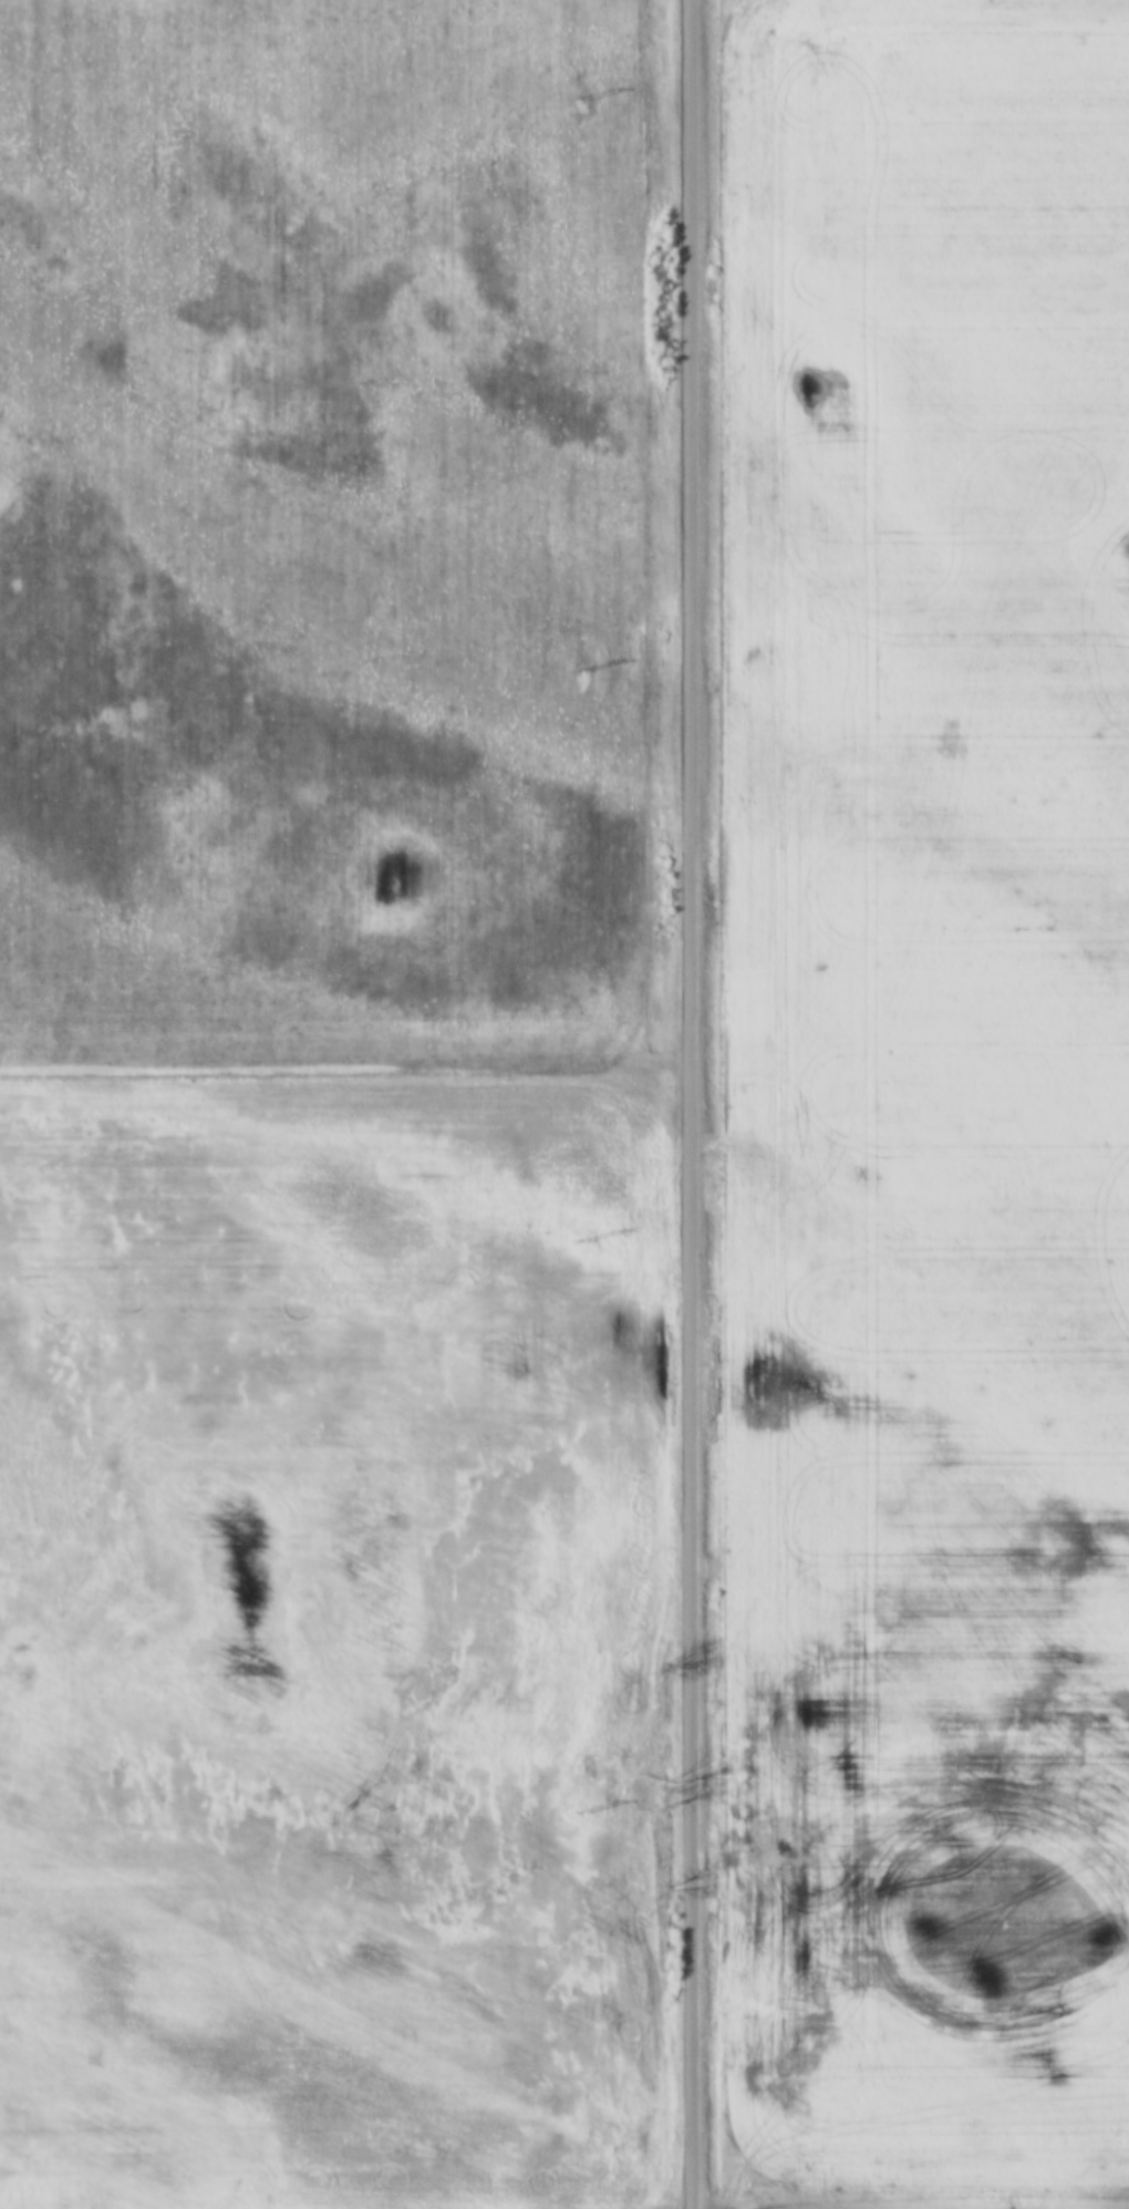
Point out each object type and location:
power tower: (579, 100)
power tower: (581, 670)
road: (688, 1104)
power tower: (581, 1236)
power tower: (580, 1813)
road: (564, 2203)

